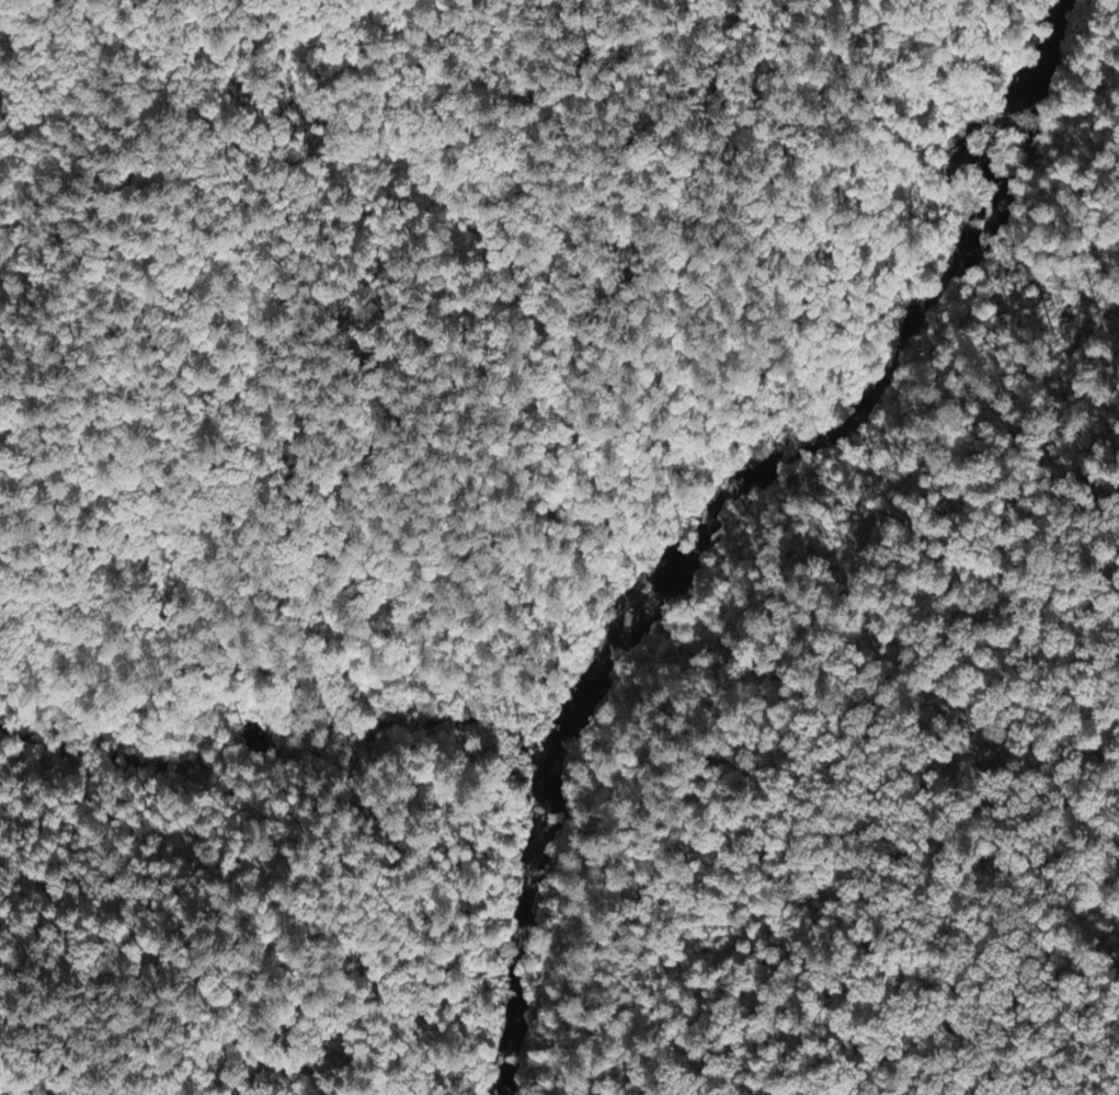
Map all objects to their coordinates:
river: (824, 380)
river: (522, 917)

